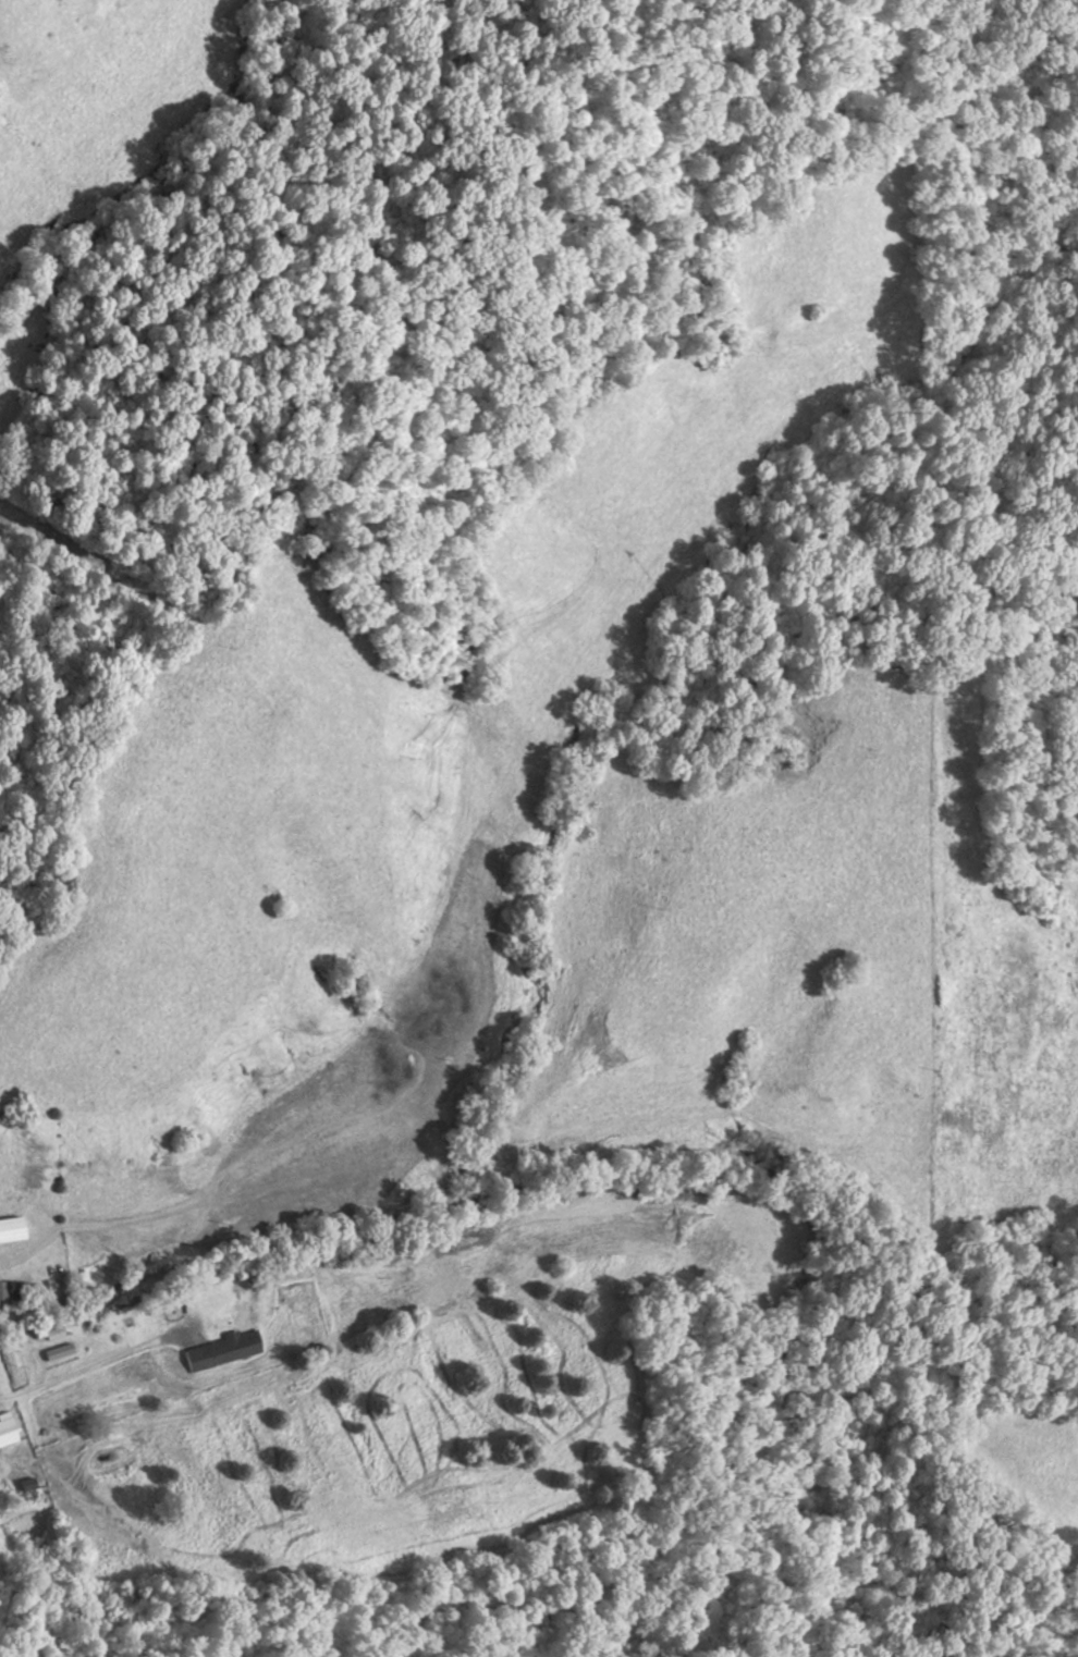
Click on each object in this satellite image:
park: (1028, 345)
building: (13, 1229)
building: (11, 1289)
building: (49, 1331)
building: (221, 1350)
road: (99, 1360)
road: (5, 1396)
building: (8, 1429)

